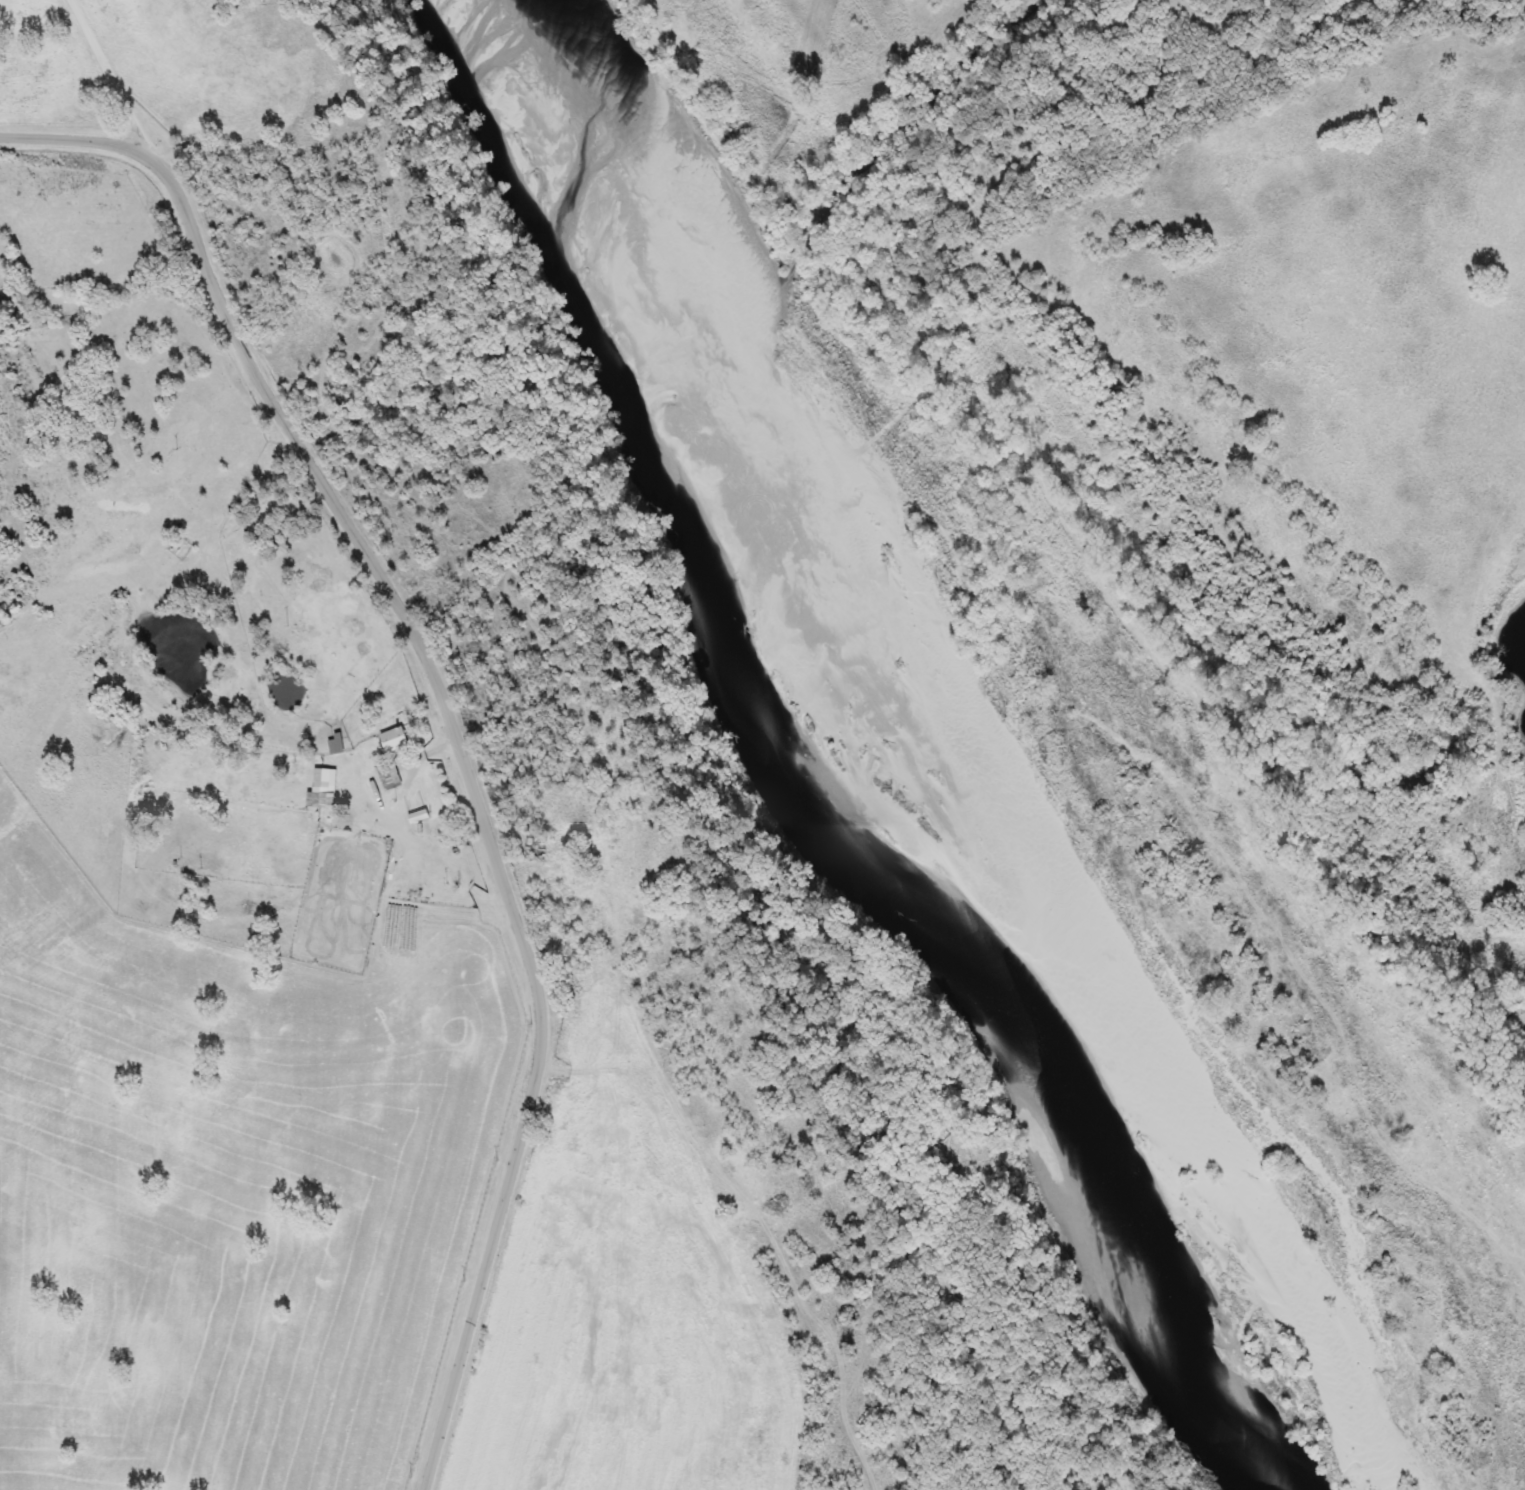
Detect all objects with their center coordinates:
road: (108, 76)
river: (549, 252)
road: (459, 714)
building: (396, 740)
building: (336, 744)
building: (390, 775)
river: (784, 779)
building: (420, 816)
building: (537, 845)

